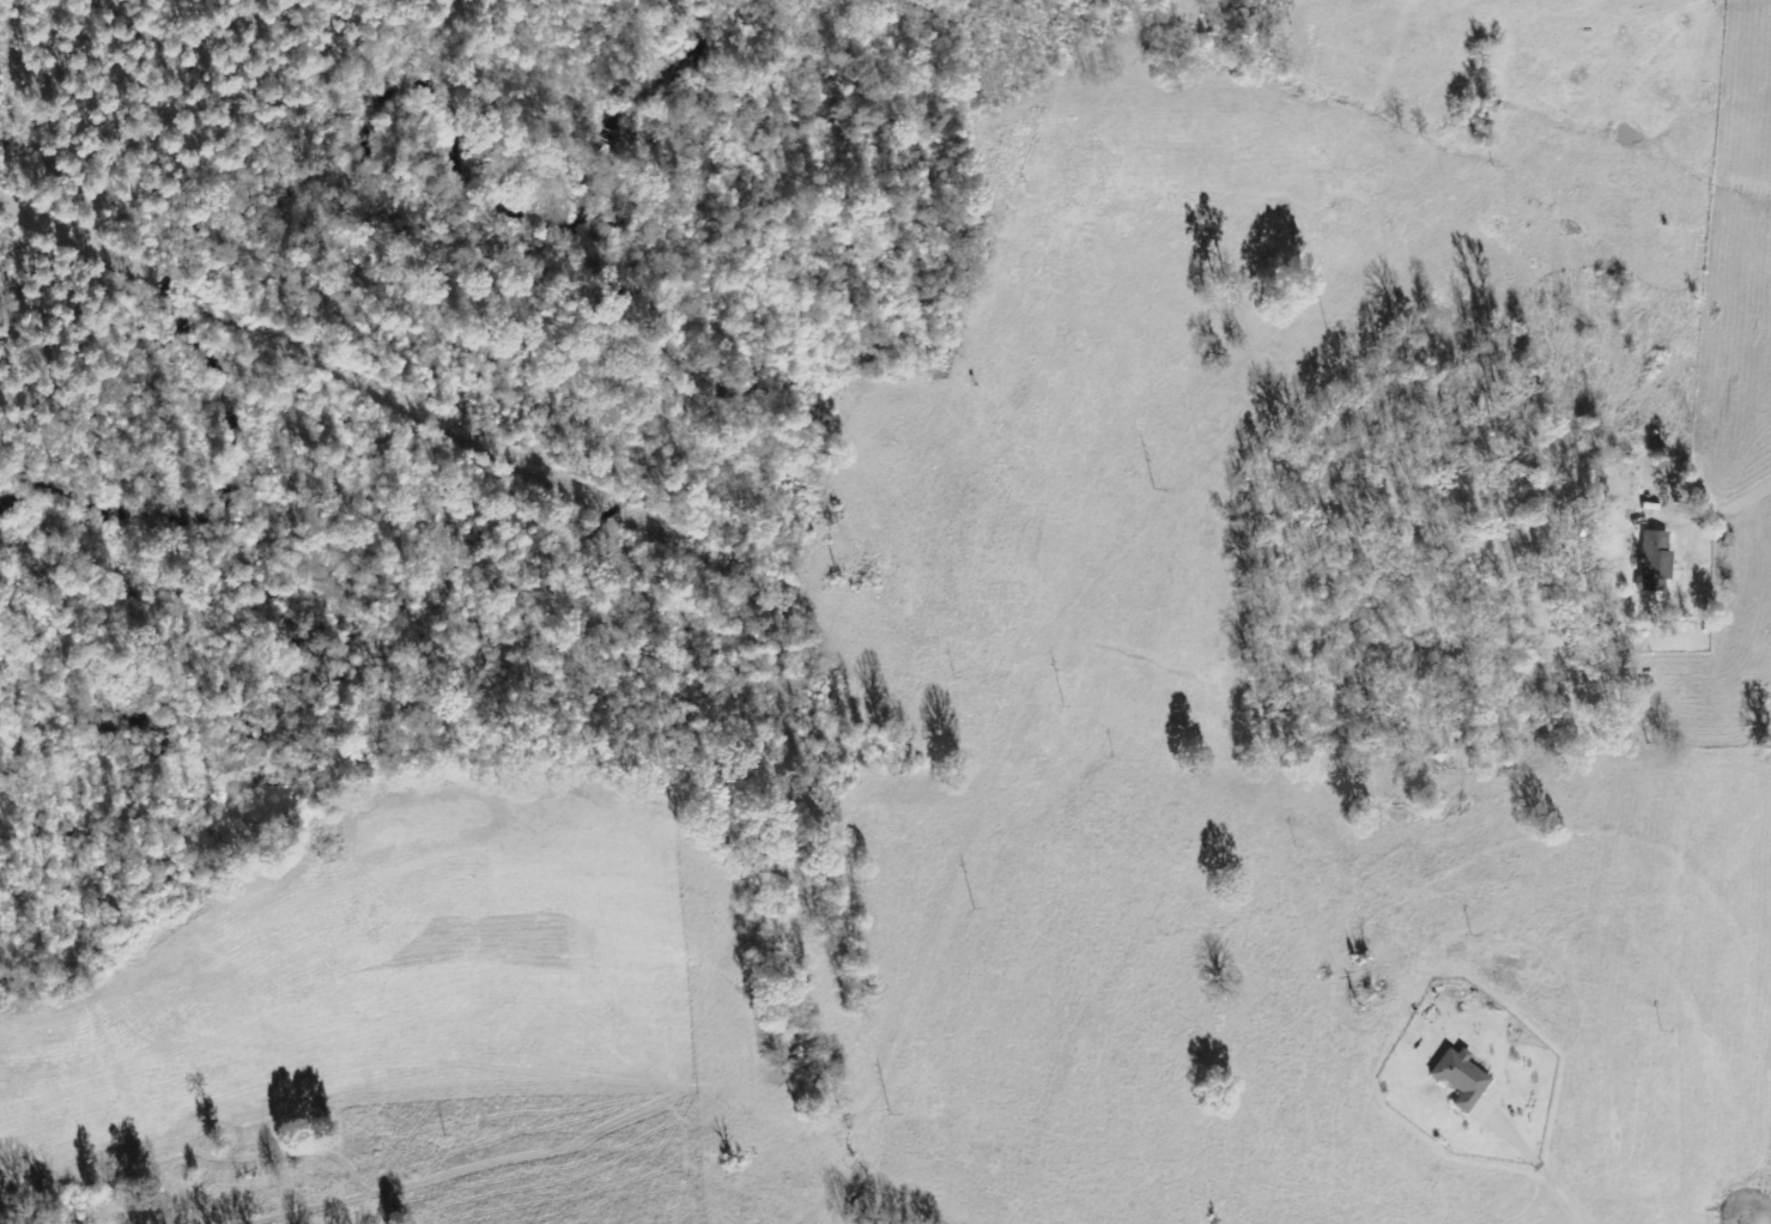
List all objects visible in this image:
road: (1741, 496)
building: (1651, 561)
building: (1457, 1078)

